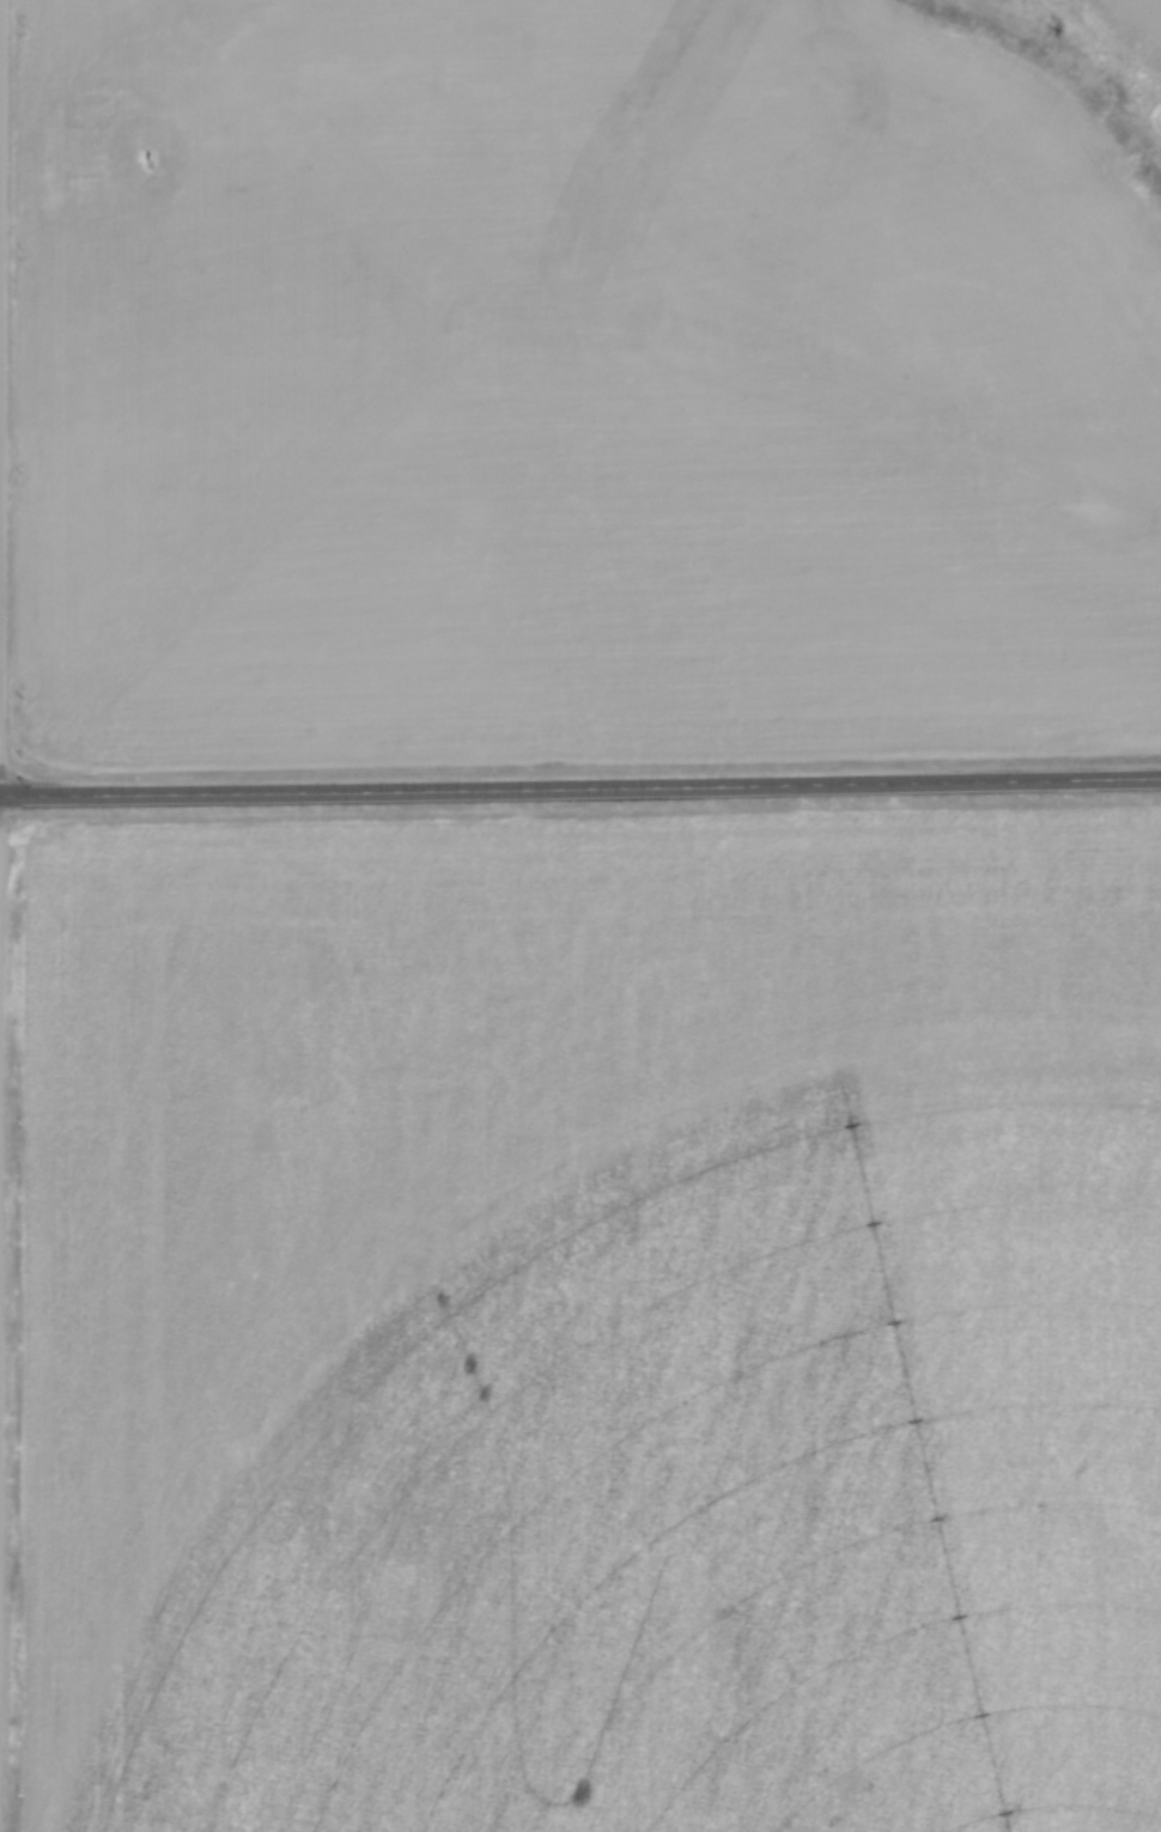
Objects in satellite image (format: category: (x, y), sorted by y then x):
crop: (1130, 24)
crop: (572, 388)
road: (580, 786)
crop: (591, 1322)

